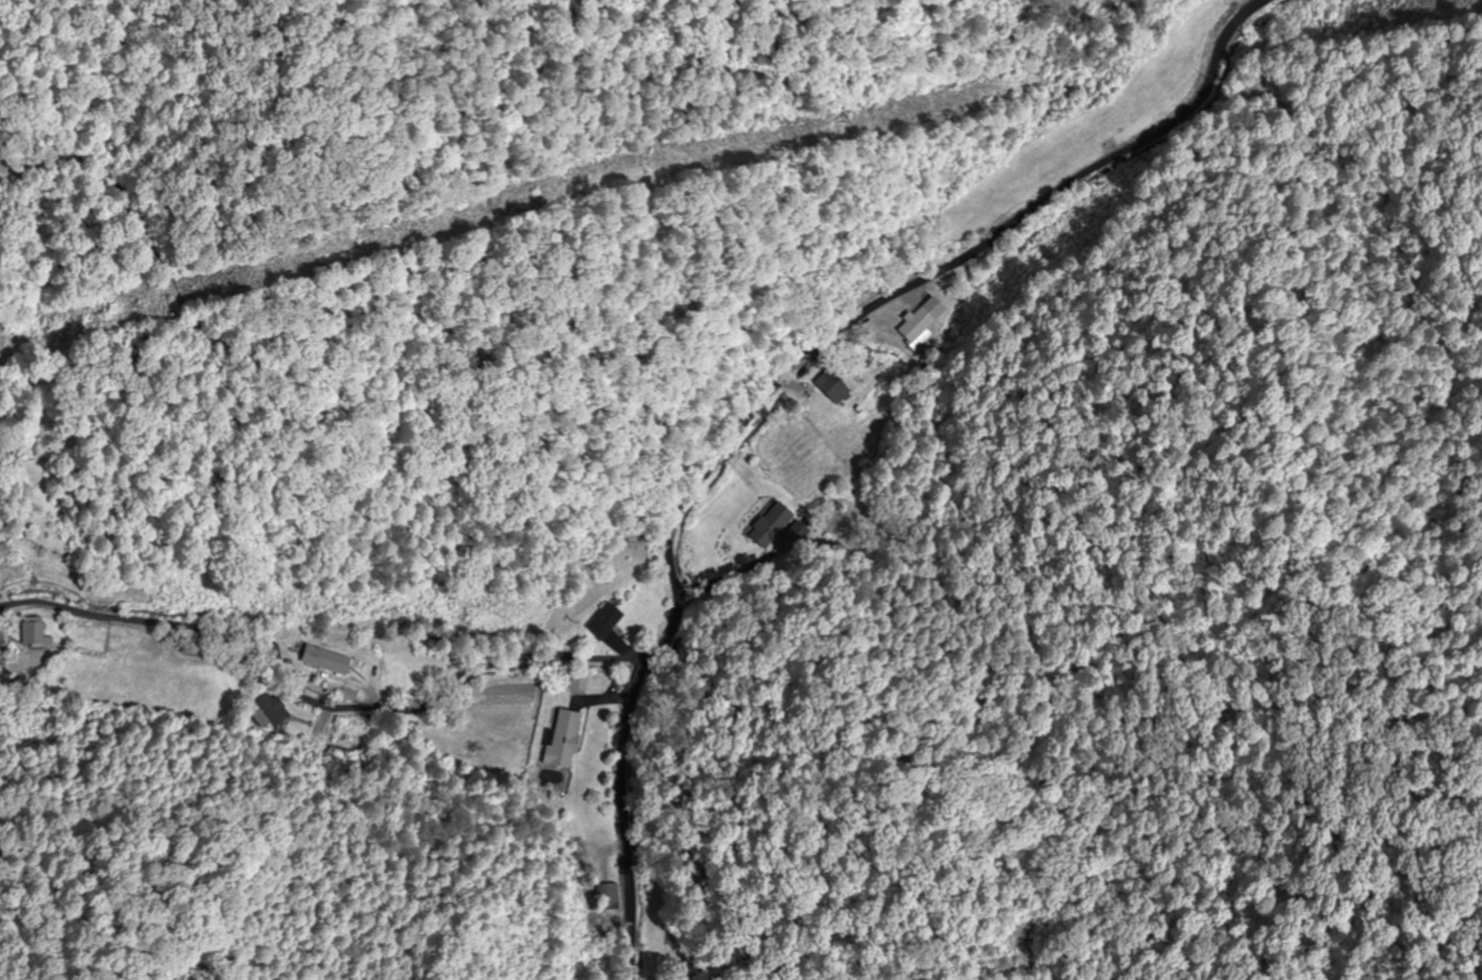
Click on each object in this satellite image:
road: (770, 387)
building: (832, 388)
building: (771, 525)
building: (2, 552)
building: (602, 621)
building: (34, 633)
building: (190, 645)
building: (322, 661)
building: (578, 682)
road: (317, 704)
building: (272, 710)
building: (561, 742)
building: (609, 898)

